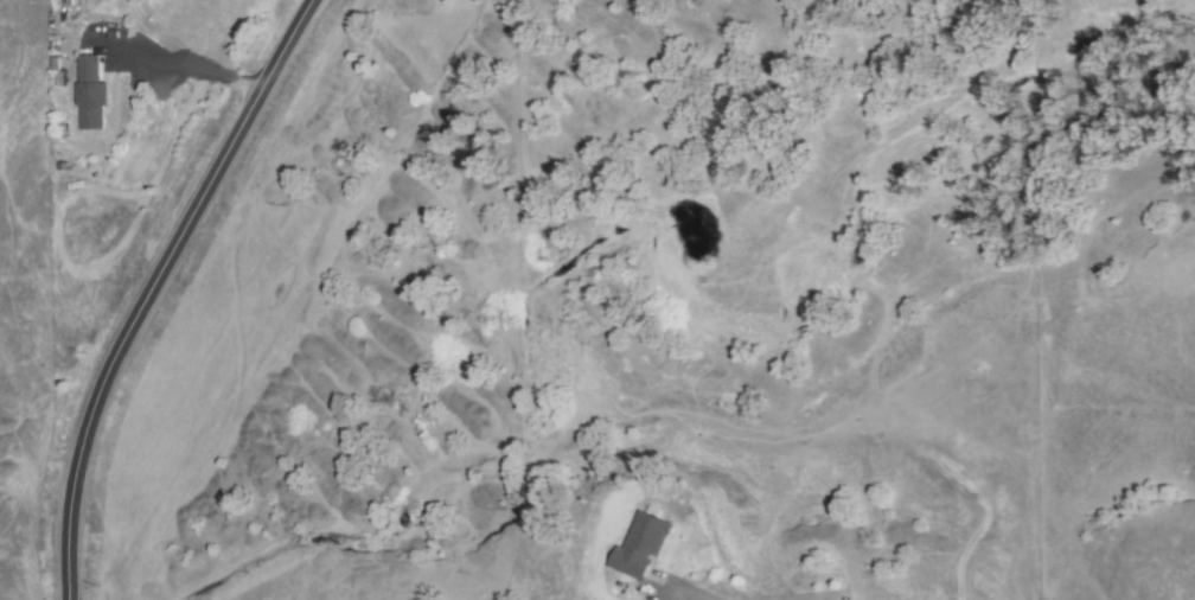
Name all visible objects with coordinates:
road: (187, 53)
building: (92, 92)
road: (153, 287)
building: (641, 547)
road: (691, 592)

